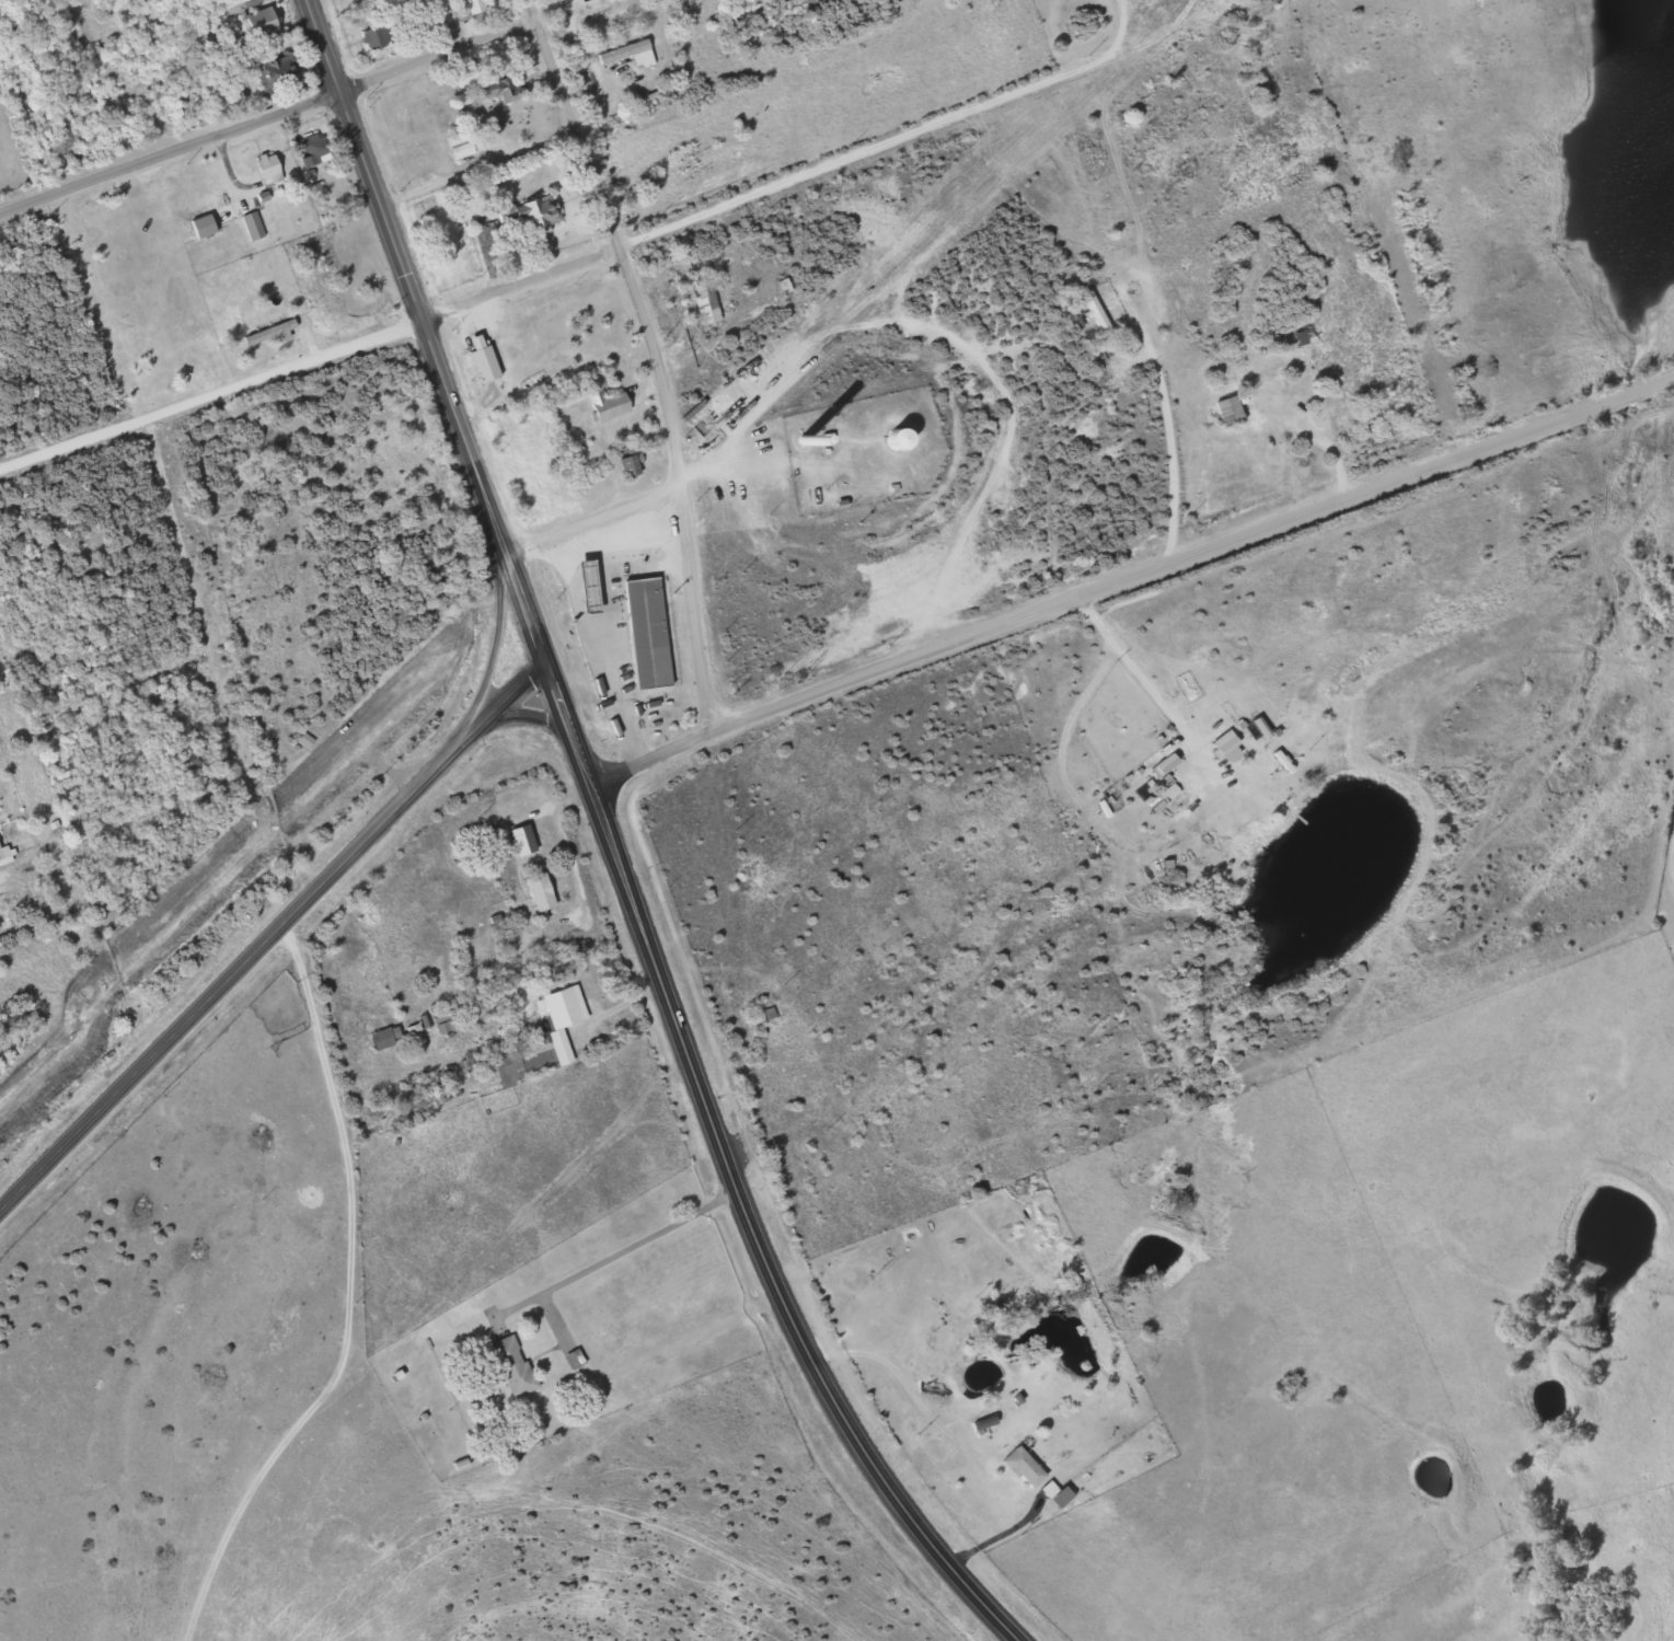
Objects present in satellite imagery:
building: (466, 7)
building: (265, 24)
building: (373, 34)
building: (625, 53)
building: (280, 76)
building: (493, 84)
road: (267, 118)
building: (452, 143)
building: (309, 148)
building: (263, 169)
building: (524, 210)
building: (701, 307)
building: (1087, 309)
road: (429, 328)
building: (267, 332)
road: (383, 335)
road: (661, 351)
building: (477, 361)
building: (601, 404)
building: (1222, 411)
building: (890, 438)
road: (159, 439)
water tower: (896, 442)
water tower: (864, 443)
road: (68, 458)
building: (624, 465)
road: (18, 475)
road: (592, 512)
road: (1131, 578)
building: (642, 631)
gas station: (617, 632)
road: (567, 723)
building: (302, 739)
building: (518, 831)
building: (538, 889)
park: (1667, 893)
road: (270, 934)
building: (562, 1005)
building: (443, 1013)
building: (379, 1031)
road: (758, 1239)
road: (563, 1314)
road: (405, 1316)
building: (935, 1332)
building: (506, 1365)
building: (1017, 1467)

